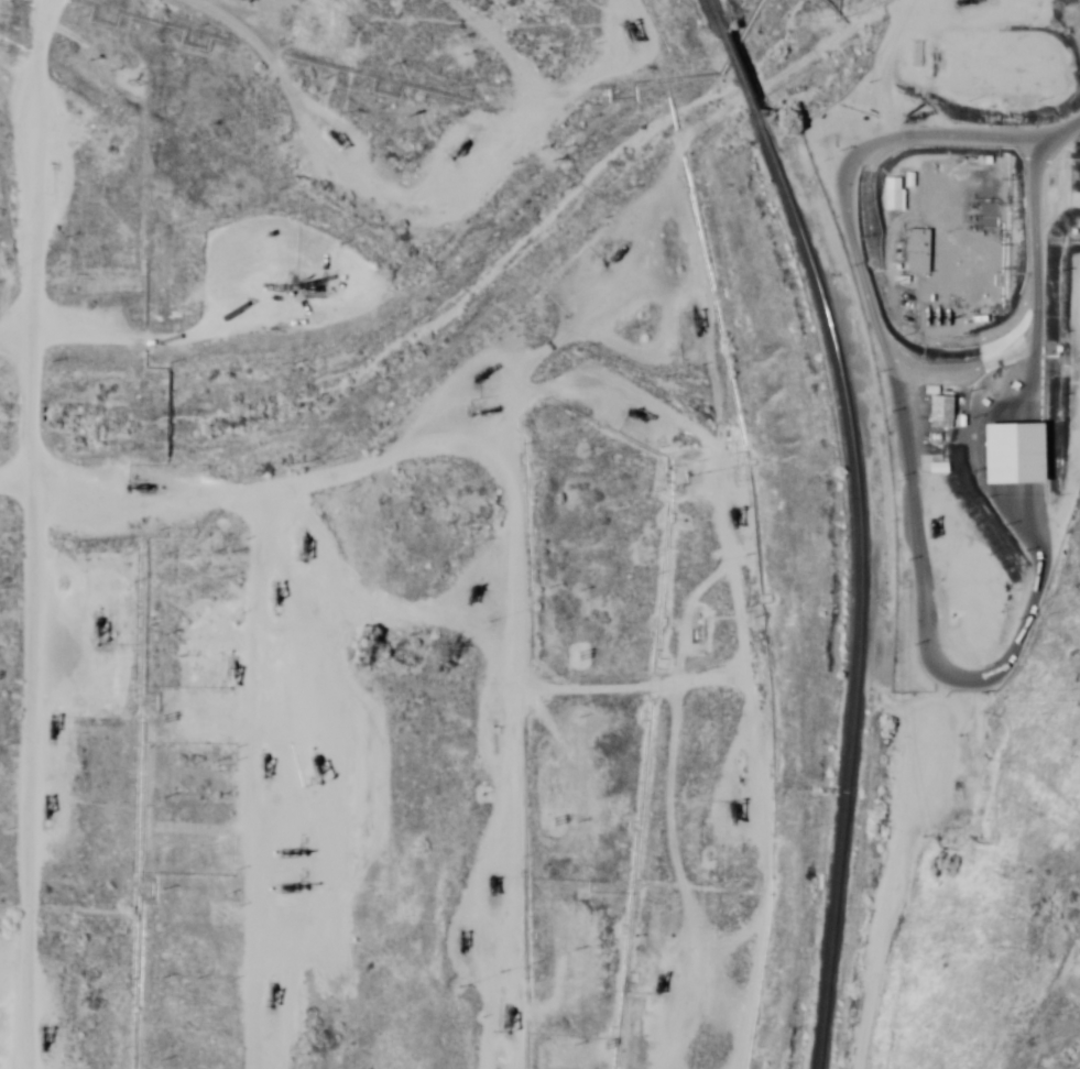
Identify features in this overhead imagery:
railway: (714, 17)
railway: (737, 74)
road: (233, 99)
road: (3, 129)
building: (919, 252)
road: (353, 280)
road: (851, 323)
road: (500, 363)
road: (642, 371)
railway: (844, 404)
building: (941, 411)
road: (989, 569)
building: (956, 630)
road: (339, 706)
road: (476, 720)
road: (677, 778)
road: (204, 783)
railway: (836, 890)

